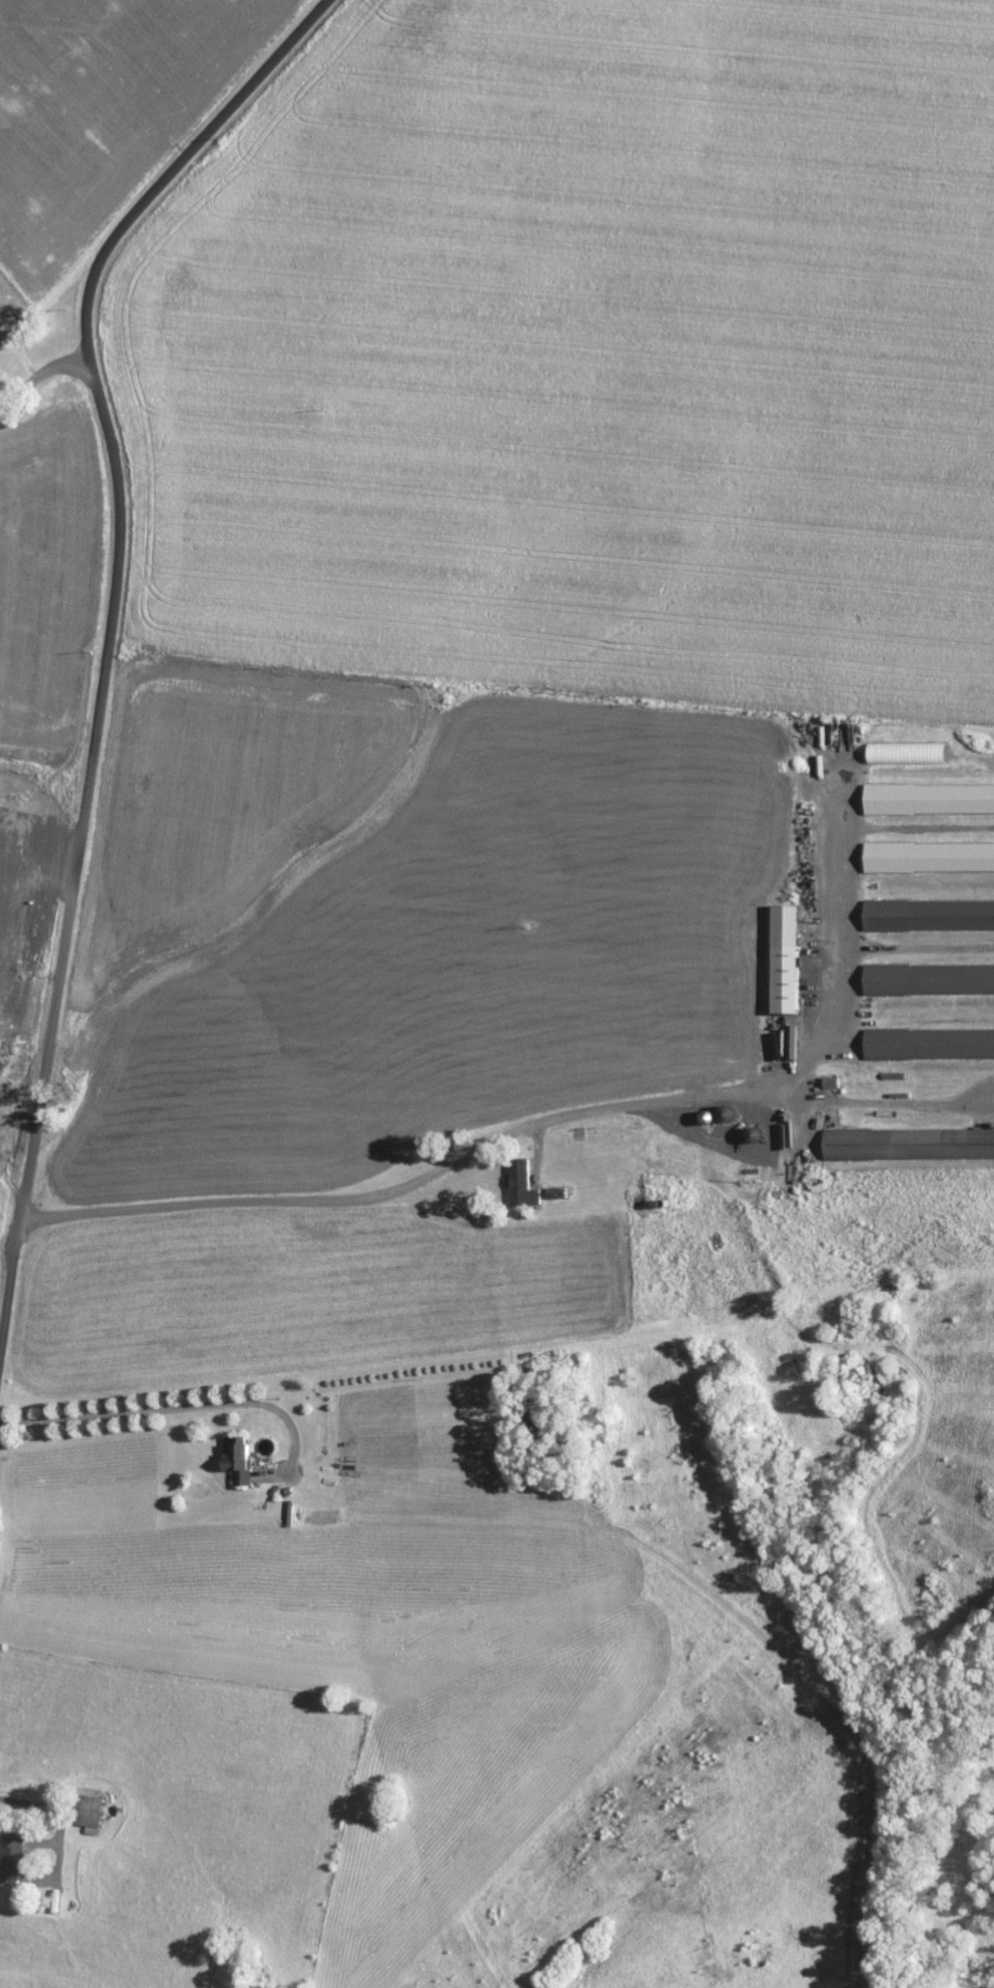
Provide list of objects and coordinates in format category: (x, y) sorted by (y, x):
road: (108, 629)
building: (908, 754)
building: (930, 798)
building: (930, 856)
building: (930, 915)
building: (787, 958)
building: (930, 978)
building: (930, 1043)
building: (727, 1113)
building: (909, 1143)
building: (522, 1184)
road: (169, 1408)
building: (238, 1460)
building: (88, 1810)
building: (10, 1858)

